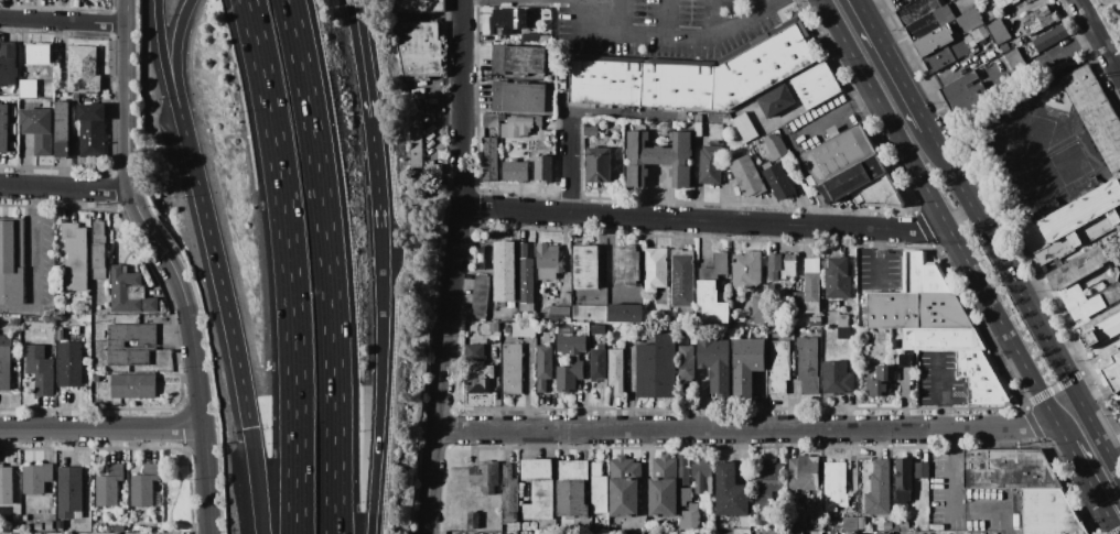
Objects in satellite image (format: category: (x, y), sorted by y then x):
road: (763, 2)
building: (1004, 2)
building: (417, 6)
building: (917, 10)
building: (944, 14)
road: (661, 17)
road: (713, 18)
road: (63, 20)
building: (1040, 20)
building: (507, 21)
building: (969, 21)
road: (356, 22)
parking lot: (664, 26)
building: (999, 31)
road: (686, 34)
building: (530, 37)
building: (1051, 37)
road: (1098, 37)
building: (934, 40)
building: (419, 48)
building: (1004, 48)
building: (40, 53)
road: (177, 54)
building: (946, 54)
road: (164, 56)
building: (1014, 58)
building: (518, 59)
building: (8, 64)
road: (893, 65)
building: (83, 69)
building: (693, 74)
building: (817, 85)
building: (29, 88)
building: (965, 94)
building: (518, 97)
building: (559, 100)
building: (776, 100)
building: (1095, 112)
road: (628, 115)
building: (492, 120)
building: (538, 120)
building: (591, 121)
building: (698, 124)
building: (517, 127)
building: (745, 127)
building: (4, 128)
building: (76, 128)
building: (39, 129)
building: (91, 129)
building: (63, 130)
building: (591, 131)
building: (416, 139)
building: (776, 145)
building: (838, 155)
building: (658, 157)
building: (491, 160)
road: (572, 164)
building: (599, 165)
building: (710, 165)
road: (375, 168)
building: (543, 168)
building: (515, 171)
building: (747, 176)
building: (1118, 176)
building: (853, 178)
building: (780, 179)
road: (64, 187)
building: (881, 193)
building: (1044, 209)
building: (1118, 209)
building: (1075, 217)
road: (945, 221)
road: (707, 222)
building: (1118, 227)
building: (99, 250)
building: (76, 257)
building: (12, 261)
building: (548, 261)
road: (168, 264)
road: (288, 264)
road: (34, 265)
road: (327, 265)
building: (627, 265)
building: (782, 265)
road: (456, 268)
building: (586, 268)
road: (217, 269)
building: (655, 269)
building: (746, 270)
building: (504, 272)
building: (923, 274)
building: (682, 279)
building: (838, 279)
building: (526, 280)
building: (1064, 282)
building: (812, 285)
building: (712, 290)
building: (129, 292)
building: (741, 295)
building: (481, 296)
building: (795, 299)
road: (1023, 301)
building: (760, 308)
building: (915, 309)
building: (589, 312)
building: (624, 313)
building: (559, 314)
building: (841, 320)
building: (815, 322)
building: (524, 329)
building: (597, 329)
building: (508, 330)
building: (1101, 330)
building: (60, 334)
building: (844, 334)
building: (941, 339)
building: (569, 340)
building: (885, 342)
building: (147, 344)
building: (896, 344)
building: (905, 359)
building: (4, 363)
building: (597, 363)
building: (687, 363)
building: (69, 364)
building: (715, 364)
building: (747, 364)
building: (808, 364)
building: (543, 367)
building: (658, 367)
building: (779, 367)
building: (1111, 368)
building: (41, 369)
building: (511, 369)
building: (478, 370)
building: (616, 371)
building: (885, 372)
building: (569, 375)
building: (96, 378)
building: (837, 378)
building: (983, 379)
building: (133, 385)
building: (877, 388)
road: (1055, 389)
road: (944, 391)
building: (1119, 396)
building: (1119, 407)
road: (378, 414)
road: (100, 427)
road: (749, 429)
building: (683, 460)
building: (1008, 469)
building: (922, 470)
road: (957, 470)
building: (683, 476)
building: (804, 476)
building: (486, 477)
building: (702, 477)
building: (36, 478)
building: (767, 479)
road: (252, 480)
building: (903, 480)
building: (6, 484)
building: (109, 486)
building: (144, 486)
building: (834, 486)
building: (624, 487)
building: (538, 488)
building: (663, 488)
building: (571, 489)
building: (599, 489)
building: (879, 489)
road: (1092, 489)
building: (69, 491)
building: (731, 492)
building: (509, 494)
road: (1001, 506)
building: (1047, 512)
building: (690, 516)
building: (25, 517)
building: (473, 521)
building: (862, 523)
building: (850, 524)
building: (887, 524)
building: (901, 524)
building: (49, 525)
building: (61, 525)
building: (15, 526)
building: (39, 526)
building: (118, 527)
building: (796, 527)
building: (109, 528)
building: (596, 528)
building: (612, 528)
building: (136, 530)
building: (794, 532)
building: (8, 533)
building: (508, 533)
building: (534, 533)
building: (850, 533)

